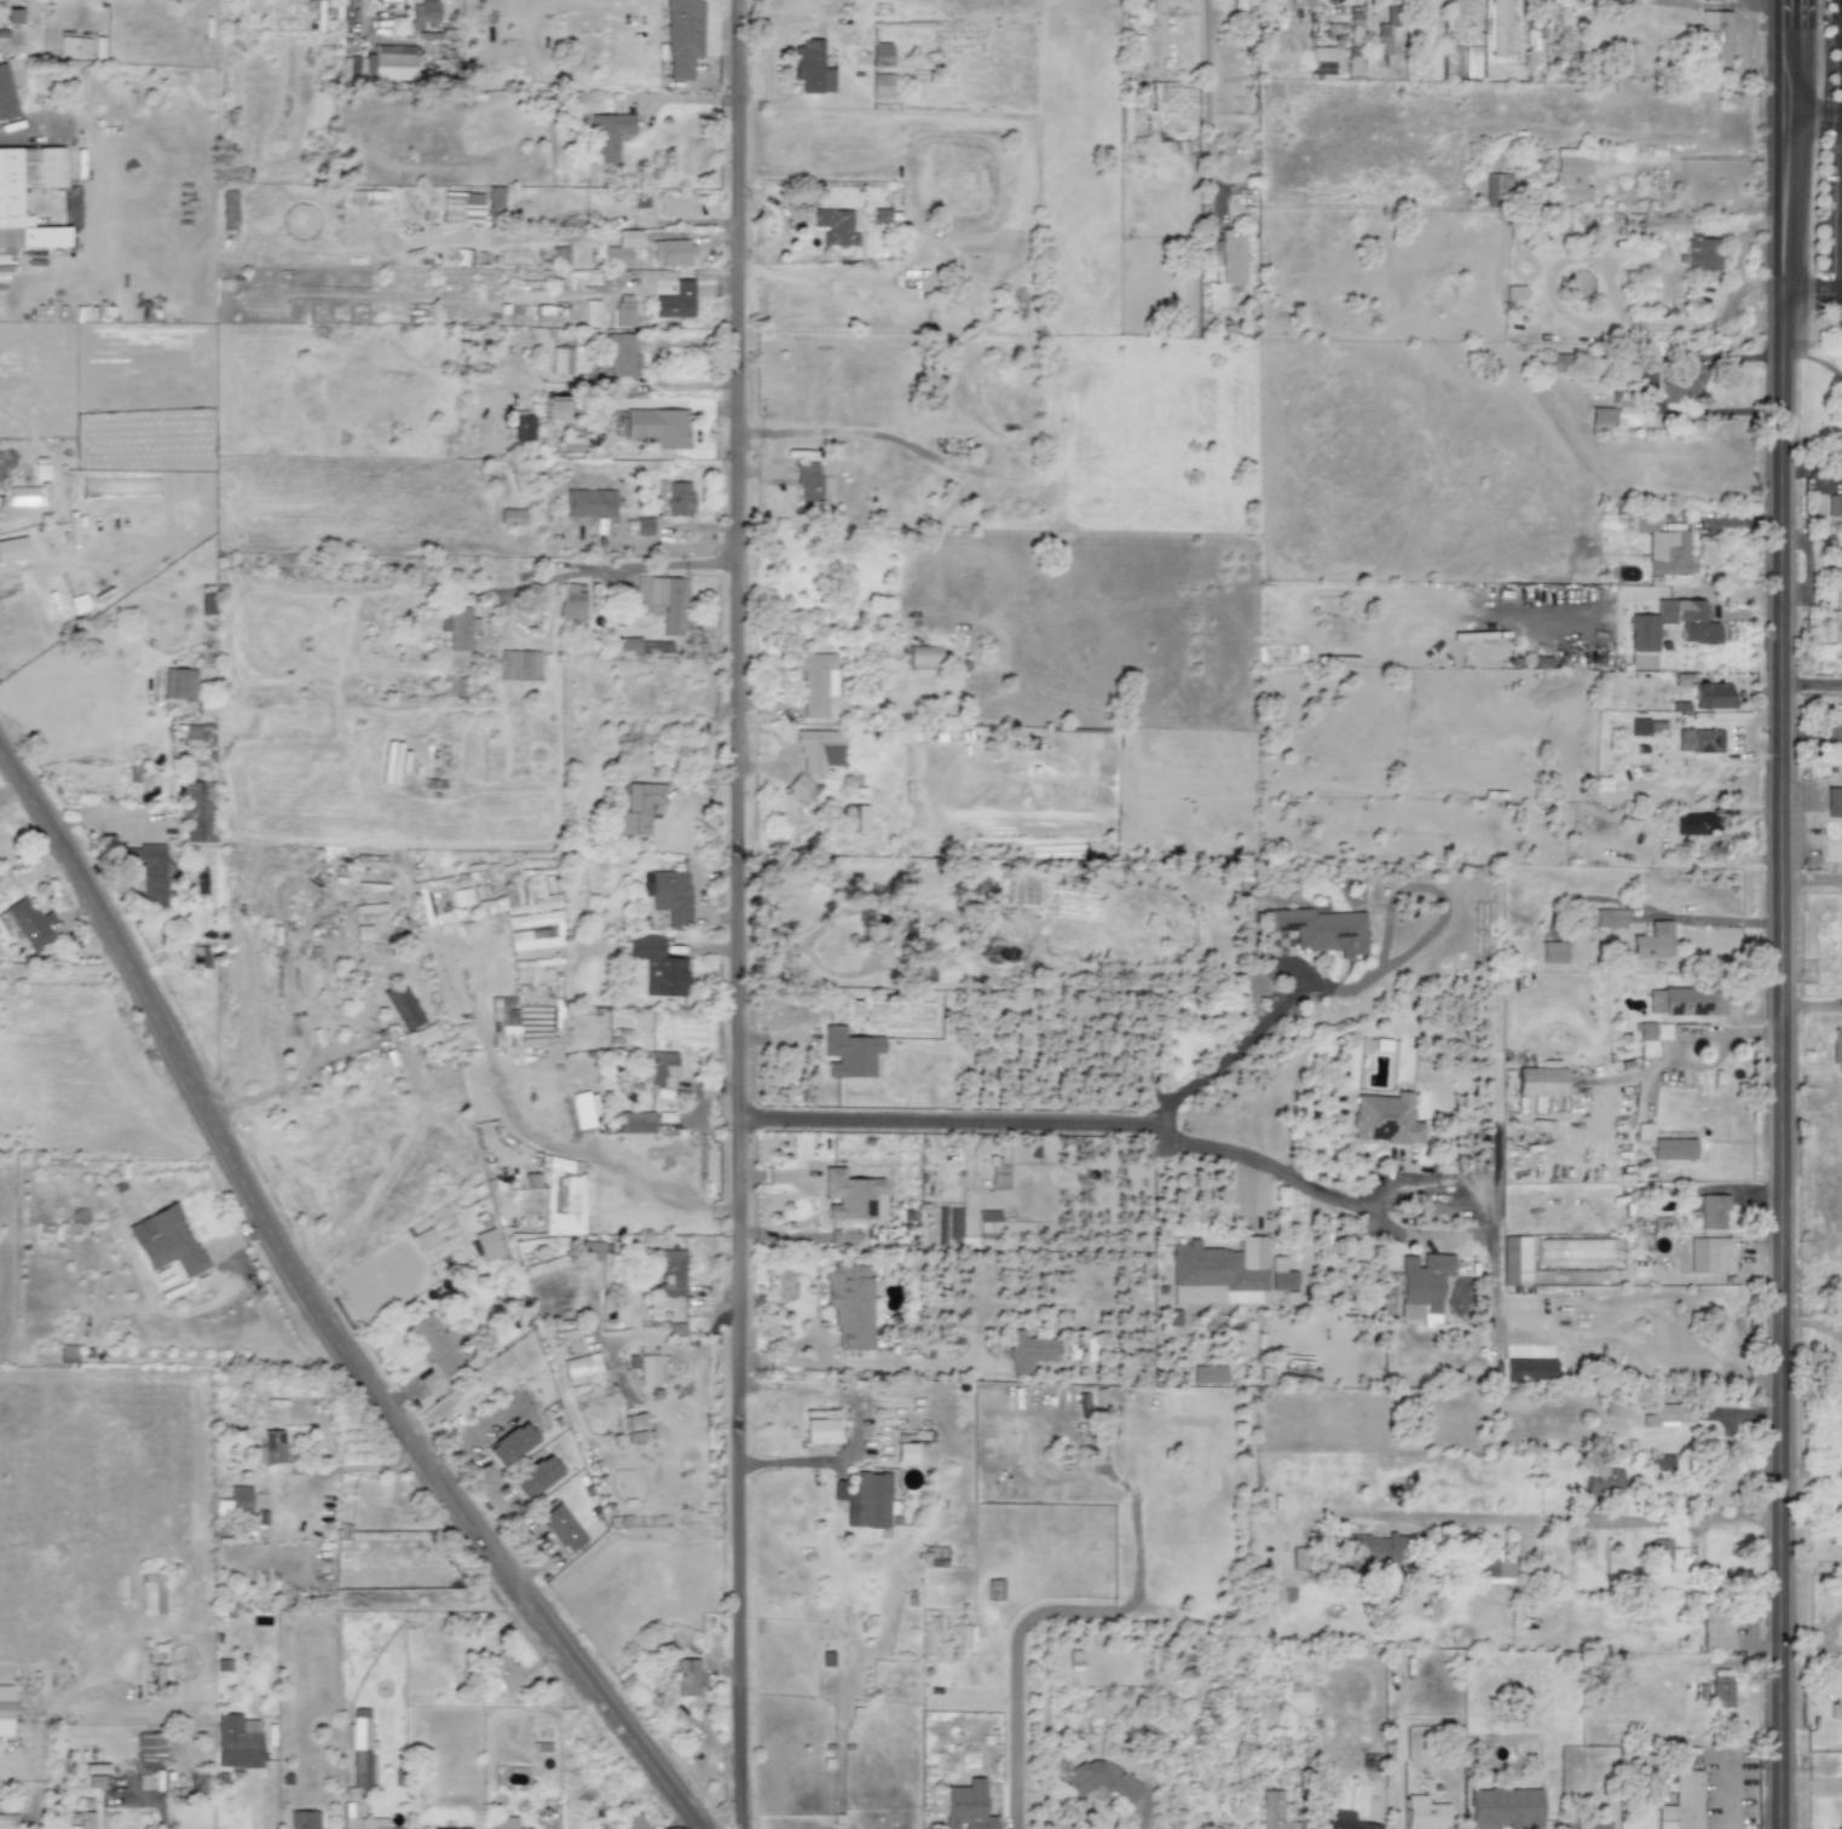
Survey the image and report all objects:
parking lot: (1835, 1)
building: (423, 15)
building: (1353, 25)
building: (682, 36)
building: (1715, 37)
building: (1381, 44)
building: (73, 46)
building: (880, 56)
building: (393, 62)
building: (1321, 62)
building: (810, 67)
building: (880, 82)
road: (1206, 94)
road: (1813, 119)
building: (607, 135)
road: (1829, 148)
road: (1675, 156)
road: (1813, 173)
building: (1570, 175)
building: (1497, 189)
building: (493, 201)
building: (676, 204)
building: (461, 206)
parking lot: (1831, 215)
building: (835, 225)
building: (1658, 226)
building: (620, 248)
building: (670, 252)
building: (1702, 252)
building: (1231, 255)
building: (675, 300)
road: (1813, 302)
building: (624, 310)
building: (590, 312)
building: (622, 353)
building: (561, 359)
building: (1682, 383)
building: (1626, 406)
building: (1600, 419)
building: (657, 426)
building: (522, 427)
road: (882, 434)
road: (1813, 471)
building: (807, 484)
building: (679, 497)
building: (589, 502)
building: (1834, 503)
building: (643, 525)
building: (1661, 546)
building: (12, 548)
road: (645, 566)
building: (1838, 576)
building: (570, 600)
building: (663, 601)
building: (457, 627)
building: (1837, 631)
building: (922, 656)
building: (519, 664)
building: (815, 681)
road: (1813, 682)
building: (178, 683)
building: (1711, 694)
building: (1639, 726)
building: (198, 734)
building: (1698, 739)
building: (819, 750)
building: (797, 785)
building: (1834, 801)
building: (637, 807)
building: (198, 810)
building: (859, 818)
building: (1700, 825)
building: (148, 870)
road: (1812, 878)
building: (668, 894)
building: (1841, 908)
road: (740, 914)
road: (1780, 914)
building: (1607, 917)
building: (25, 923)
building: (902, 924)
building: (1321, 929)
building: (1653, 940)
building: (1552, 952)
building: (201, 957)
building: (658, 965)
building: (1685, 1000)
building: (402, 1005)
building: (1650, 1035)
building: (1837, 1050)
building: (849, 1051)
building: (660, 1066)
road: (294, 1075)
building: (1540, 1080)
building: (1384, 1118)
road: (946, 1119)
building: (635, 1121)
road: (542, 1136)
building: (1671, 1148)
road: (1310, 1187)
building: (849, 1194)
building: (1709, 1210)
building: (564, 1222)
building: (987, 1222)
building: (164, 1240)
building: (487, 1245)
building: (590, 1252)
building: (1707, 1253)
building: (1514, 1259)
building: (1218, 1271)
building: (670, 1276)
building: (1282, 1277)
building: (1422, 1286)
building: (849, 1304)
road: (317, 1309)
building: (434, 1343)
building: (1028, 1350)
building: (68, 1352)
building: (581, 1364)
building: (647, 1369)
building: (1207, 1373)
building: (1299, 1373)
building: (1659, 1414)
road: (489, 1420)
building: (634, 1420)
road: (854, 1427)
building: (820, 1430)
building: (509, 1443)
building: (270, 1446)
building: (905, 1452)
building: (1659, 1461)
building: (535, 1476)
building: (1603, 1481)
building: (1719, 1487)
building: (238, 1496)
road: (497, 1499)
building: (867, 1500)
road: (1576, 1521)
building: (560, 1527)
building: (1373, 1550)
building: (1661, 1551)
building: (1494, 1567)
building: (151, 1591)
building: (1715, 1626)
building: (501, 1671)
building: (687, 1677)
road: (1016, 1684)
building: (1719, 1686)
building: (1836, 1696)
building: (5, 1709)
building: (236, 1739)
building: (150, 1744)
building: (359, 1747)
building: (1099, 1777)
building: (93, 1779)
building: (1682, 1800)
road: (1727, 1800)
building: (965, 1806)
building: (1503, 1807)
building: (1275, 1811)
building: (1425, 1812)
building: (83, 1813)
building: (1840, 1818)
building: (302, 1819)
building: (7, 1821)
building: (1345, 1821)
building: (503, 1822)
building: (631, 1822)
building: (375, 1823)
building: (1587, 1823)
building: (451, 1828)

